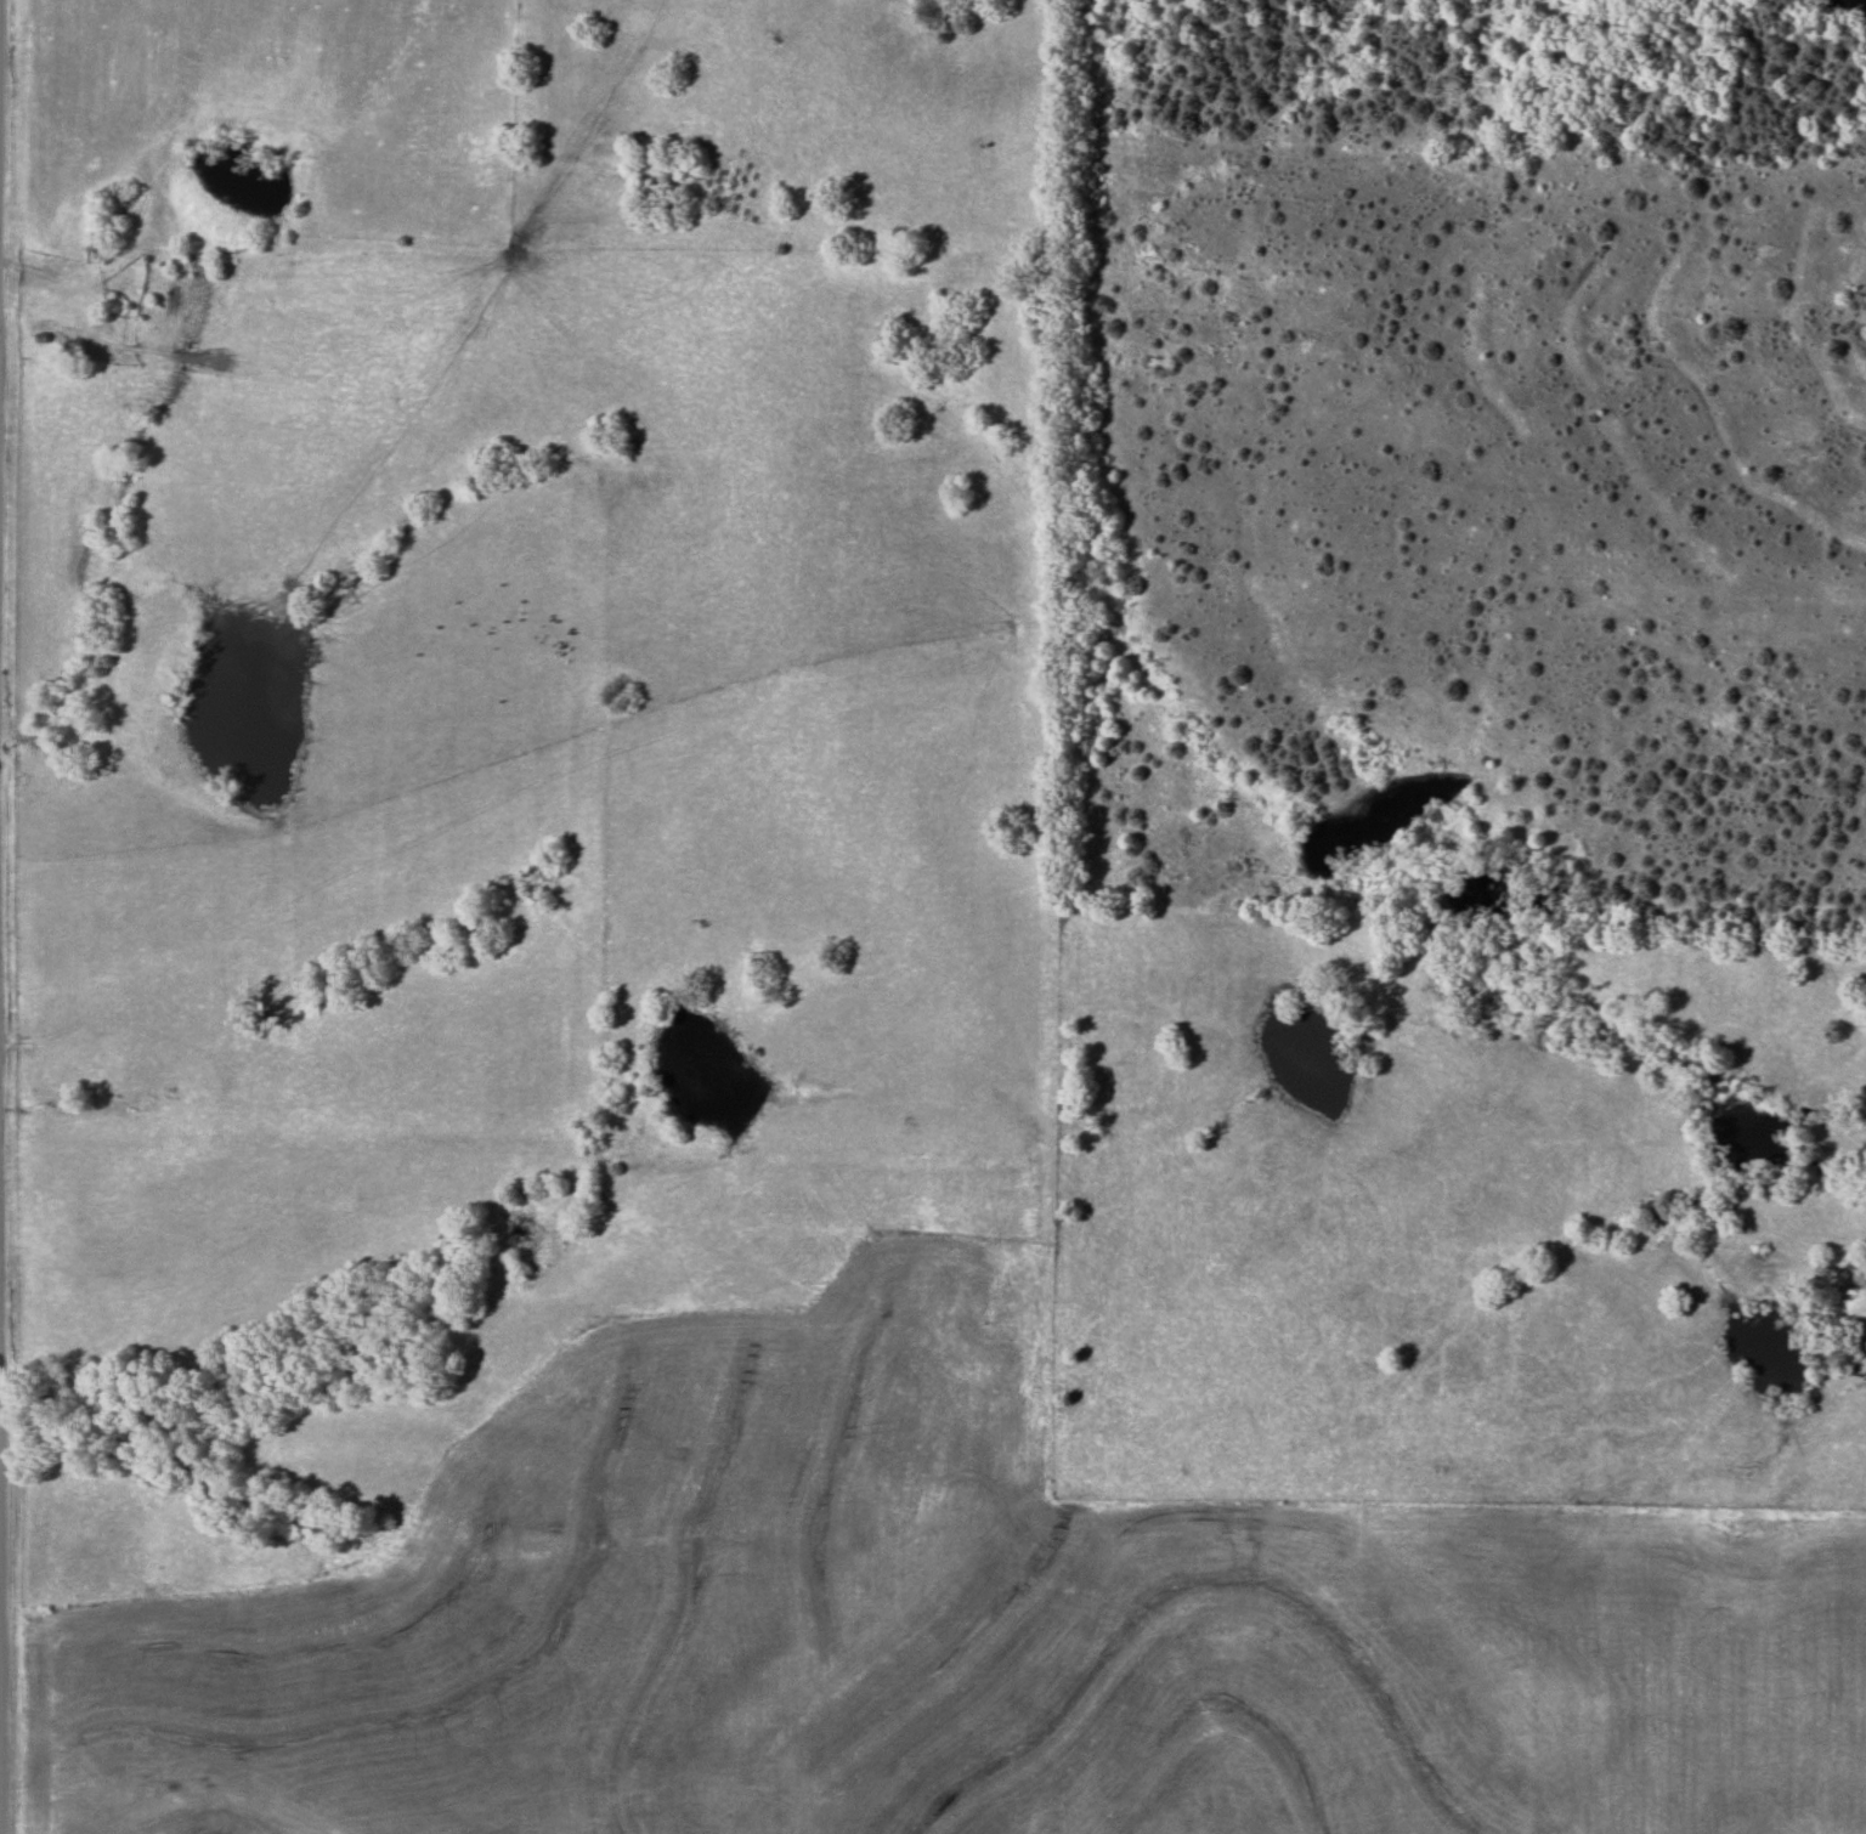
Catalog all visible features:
road: (0, 86)
road: (2, 1474)

